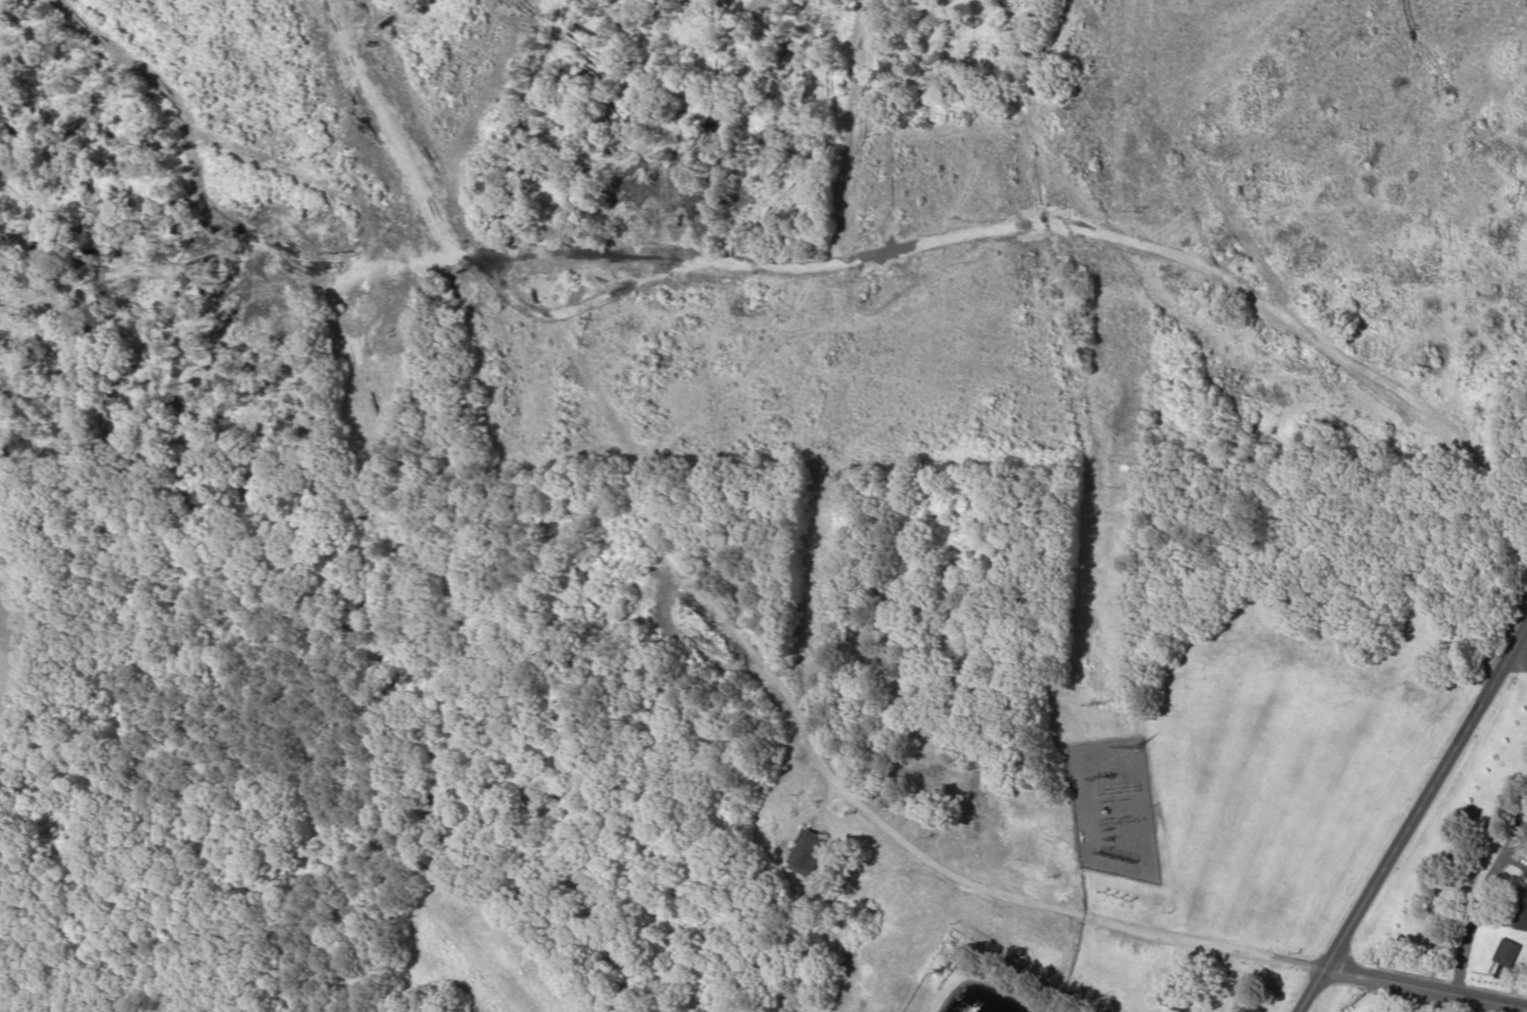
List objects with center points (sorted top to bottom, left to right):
road: (1519, 658)
road: (1414, 820)
building: (810, 853)
building: (1526, 873)
building: (1526, 876)
road: (1479, 901)
building: (1520, 907)
building: (1506, 960)
road: (1393, 981)
road: (1493, 999)

